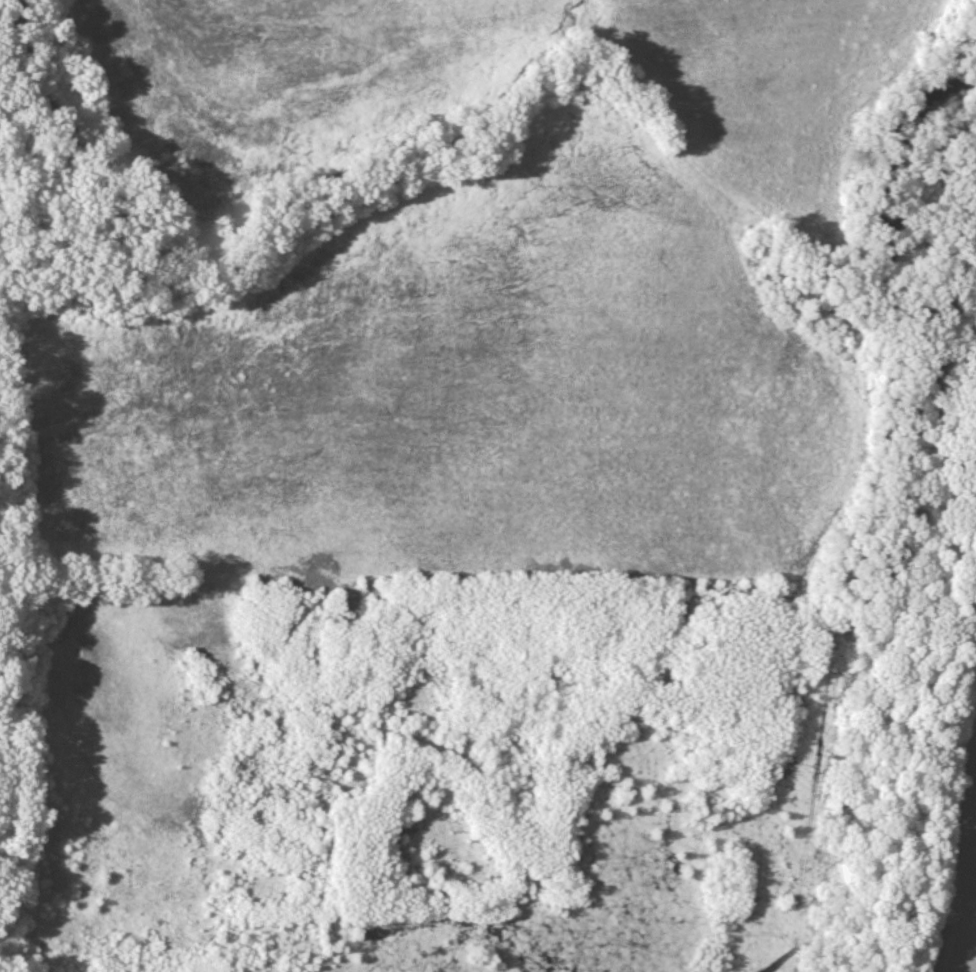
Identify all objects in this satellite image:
road: (793, 953)

